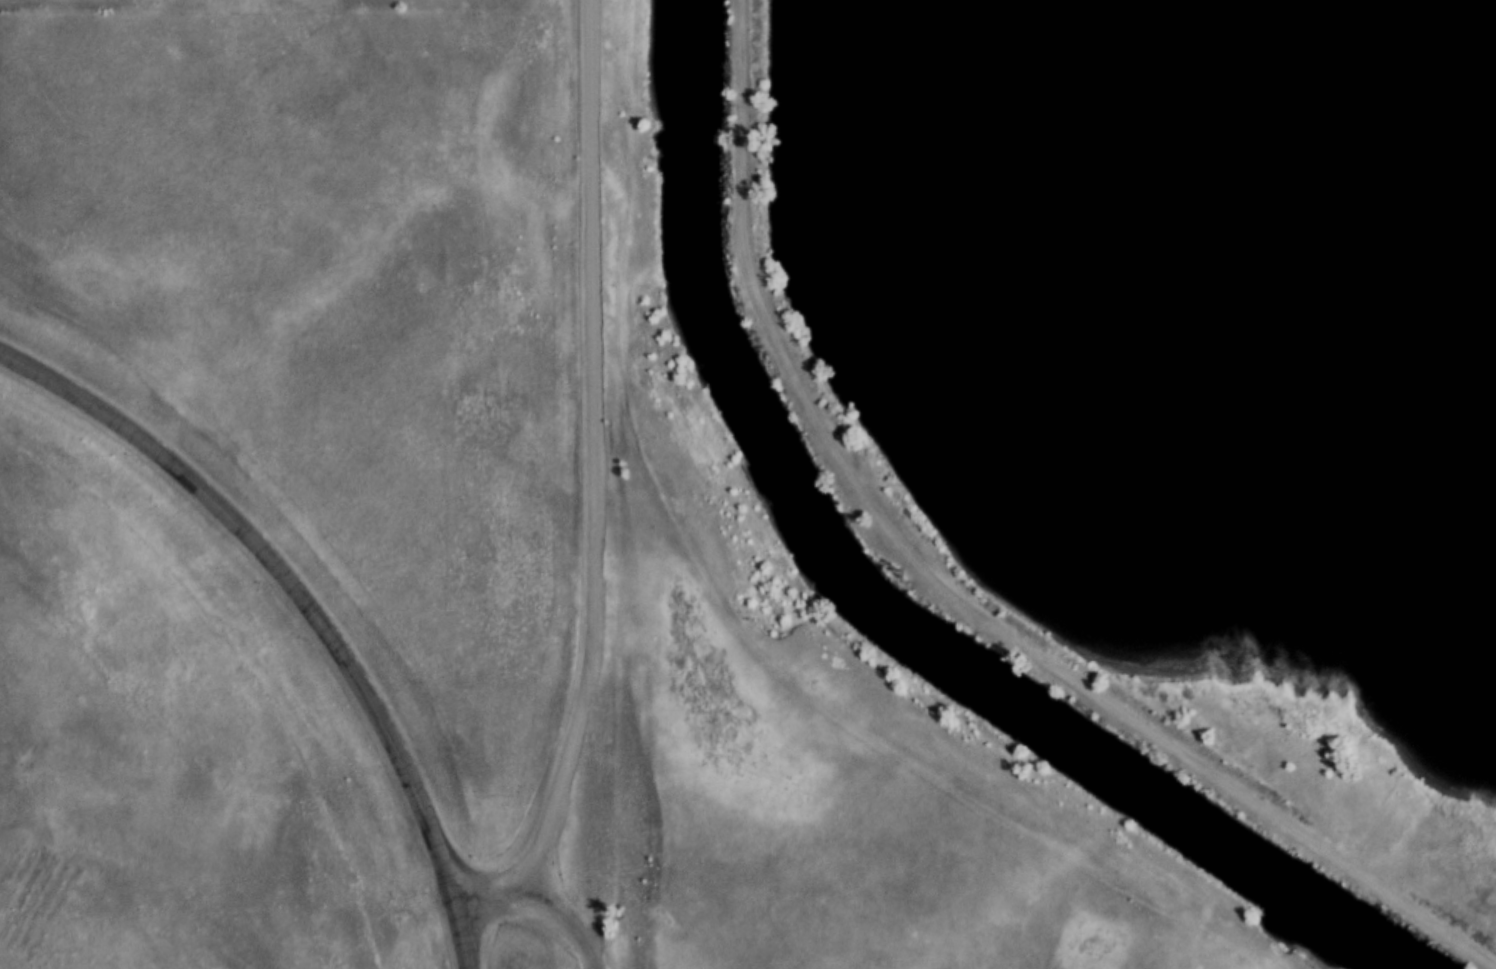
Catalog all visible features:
road: (585, 488)
road: (283, 584)
road: (949, 595)
road: (568, 922)
road: (457, 937)

